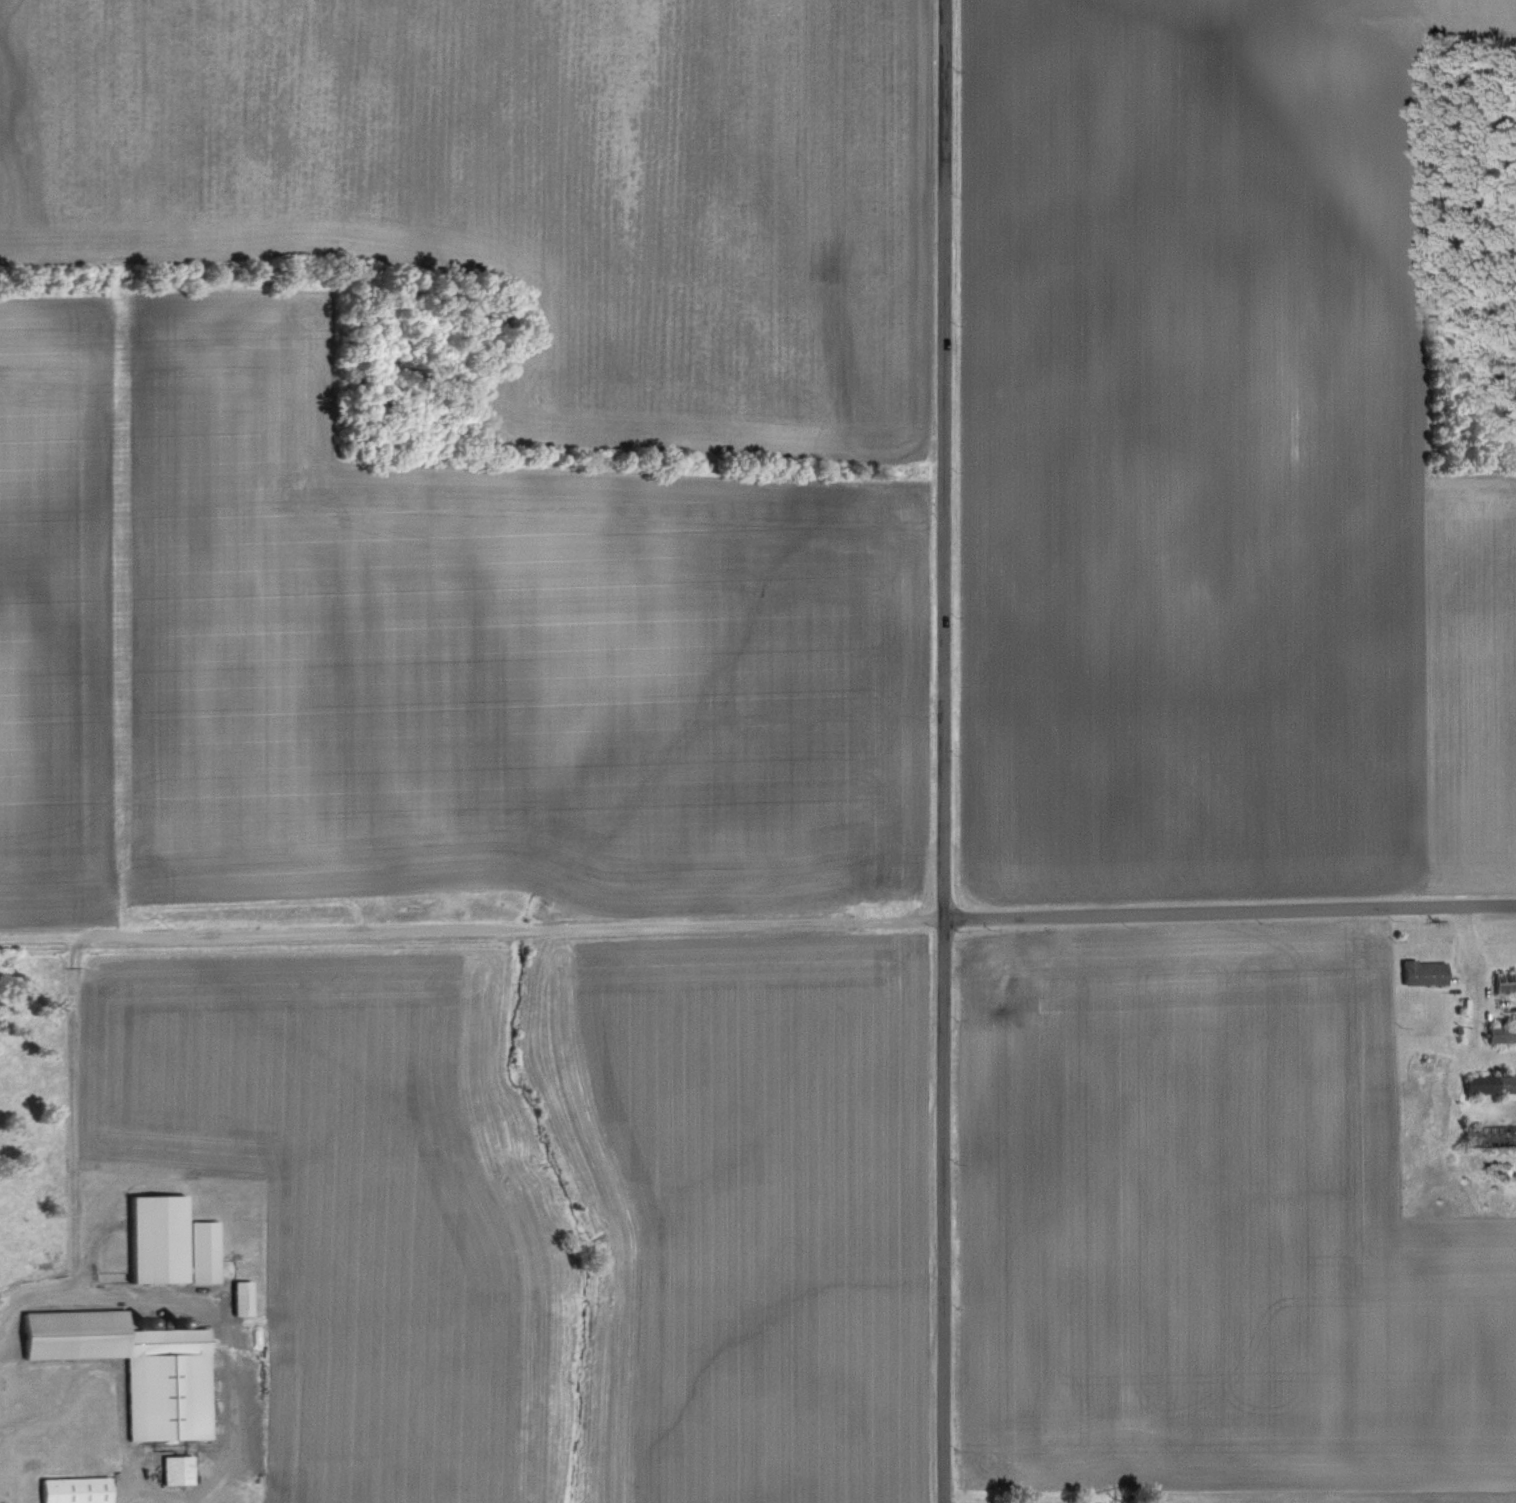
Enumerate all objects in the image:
road: (939, 751)
road: (758, 924)
building: (1418, 971)
building: (1501, 980)
building: (1487, 1082)
building: (174, 1240)
building: (243, 1296)
building: (138, 1365)
building: (178, 1468)
building: (77, 1489)
road: (145, 1491)

